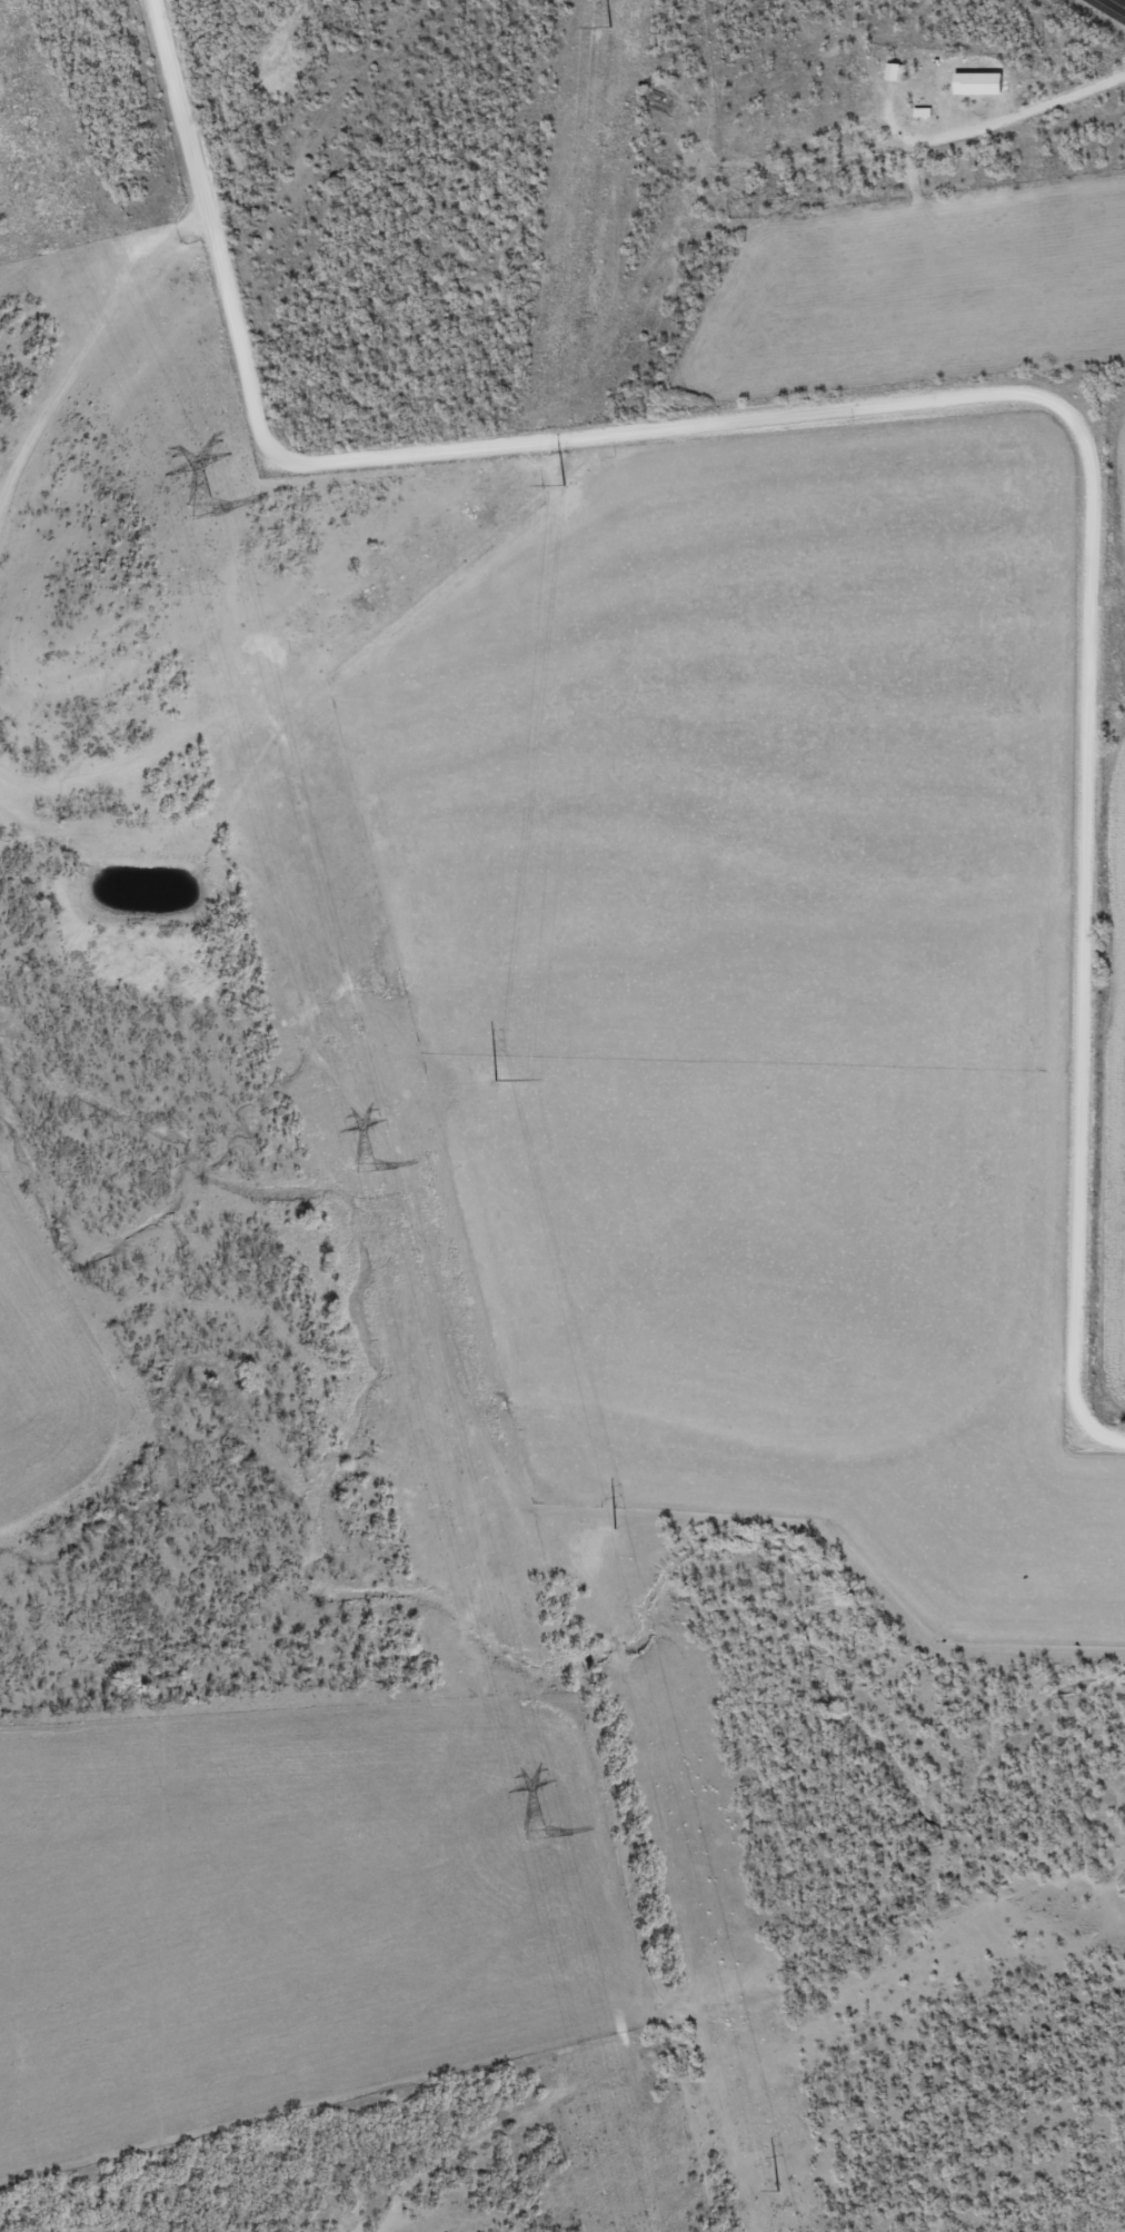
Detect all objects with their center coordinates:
road: (1114, 6)
power tower: (609, 30)
road: (938, 417)
power tower: (565, 487)
power tower: (200, 505)
power tower: (496, 1082)
power tower: (366, 1163)
road: (1102, 1421)
power tower: (616, 1530)
power tower: (534, 1829)
power tower: (779, 2193)

